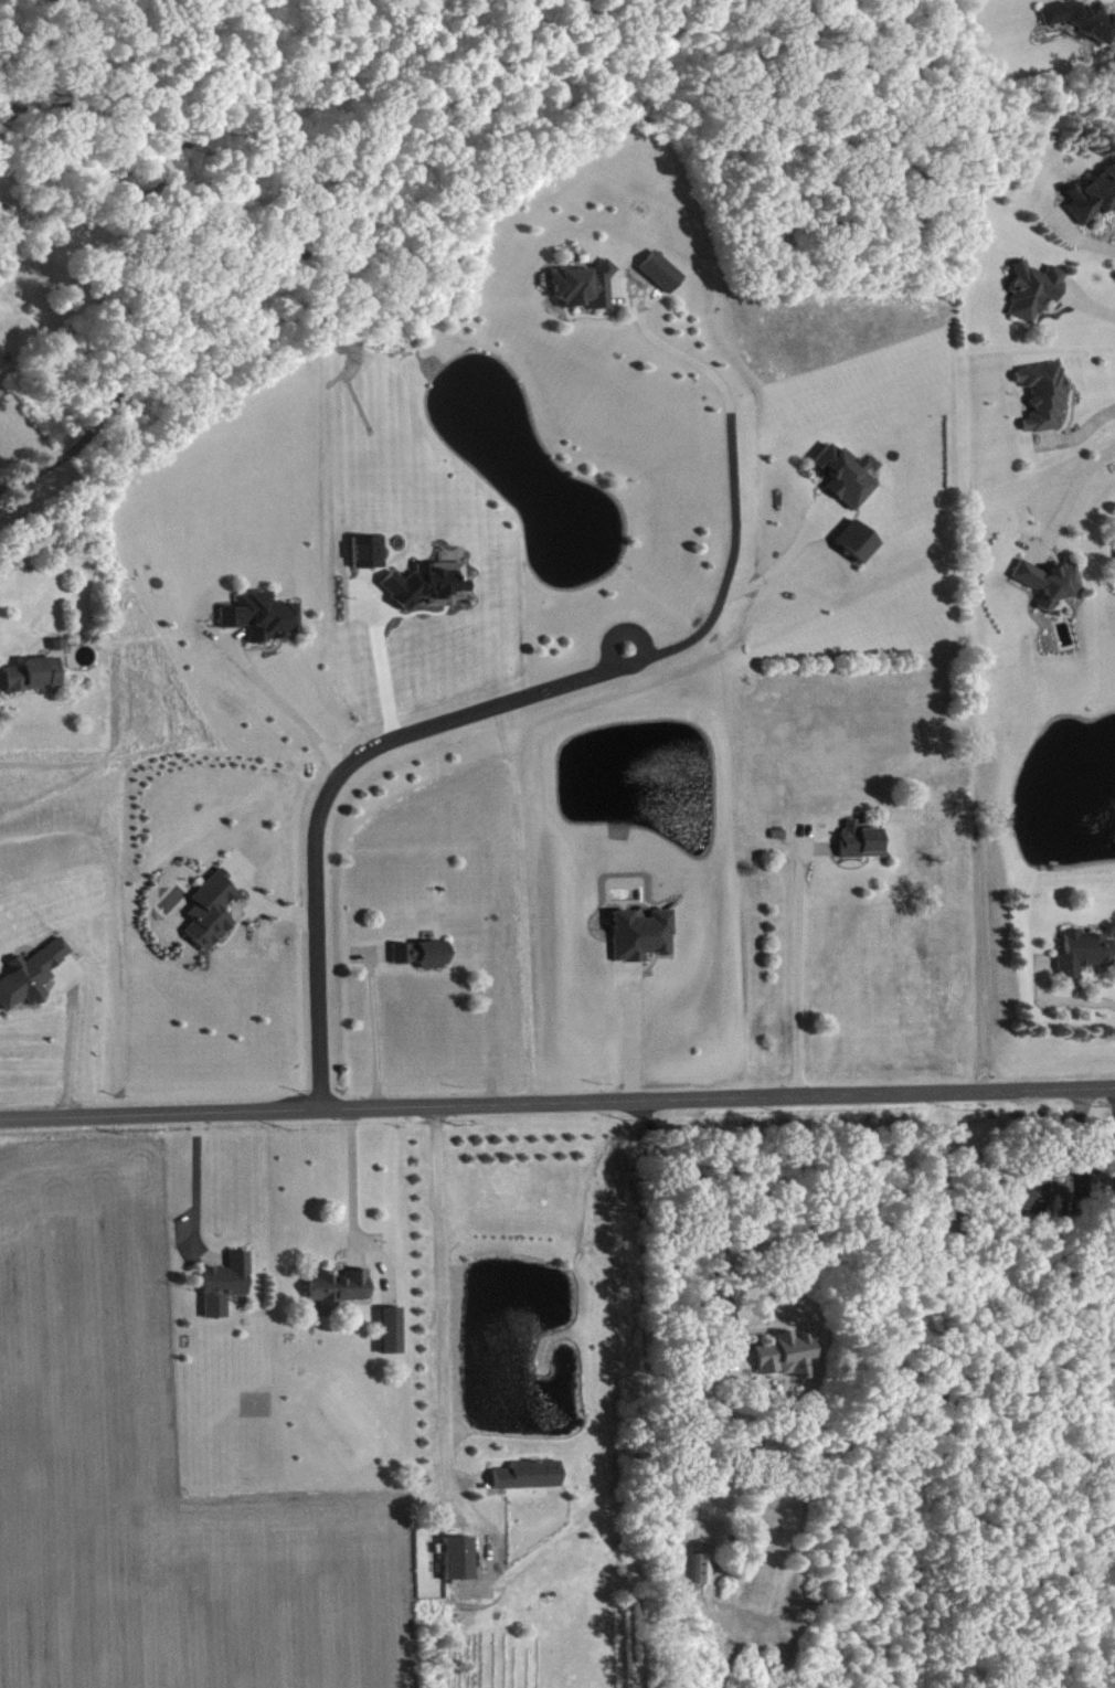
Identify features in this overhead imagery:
building: (1077, 17)
building: (1094, 198)
building: (663, 270)
road: (269, 273)
building: (587, 285)
building: (1037, 288)
road: (670, 347)
building: (1045, 394)
building: (848, 474)
road: (1068, 493)
building: (860, 540)
building: (371, 550)
road: (783, 559)
building: (1051, 580)
building: (429, 583)
building: (263, 615)
road: (378, 661)
building: (35, 672)
road: (285, 703)
road: (470, 712)
building: (864, 840)
building: (213, 910)
building: (643, 933)
building: (425, 952)
building: (1086, 952)
road: (804, 959)
building: (33, 974)
road: (378, 1026)
road: (636, 1036)
road: (71, 1039)
road: (557, 1102)
road: (1114, 1106)
road: (192, 1172)
building: (1091, 1178)
building: (1030, 1193)
road: (357, 1206)
building: (227, 1283)
building: (342, 1286)
road: (726, 1304)
building: (393, 1329)
road: (448, 1339)
building: (787, 1353)
crop: (155, 1468)
building: (531, 1474)
building: (461, 1557)
building: (705, 1567)

